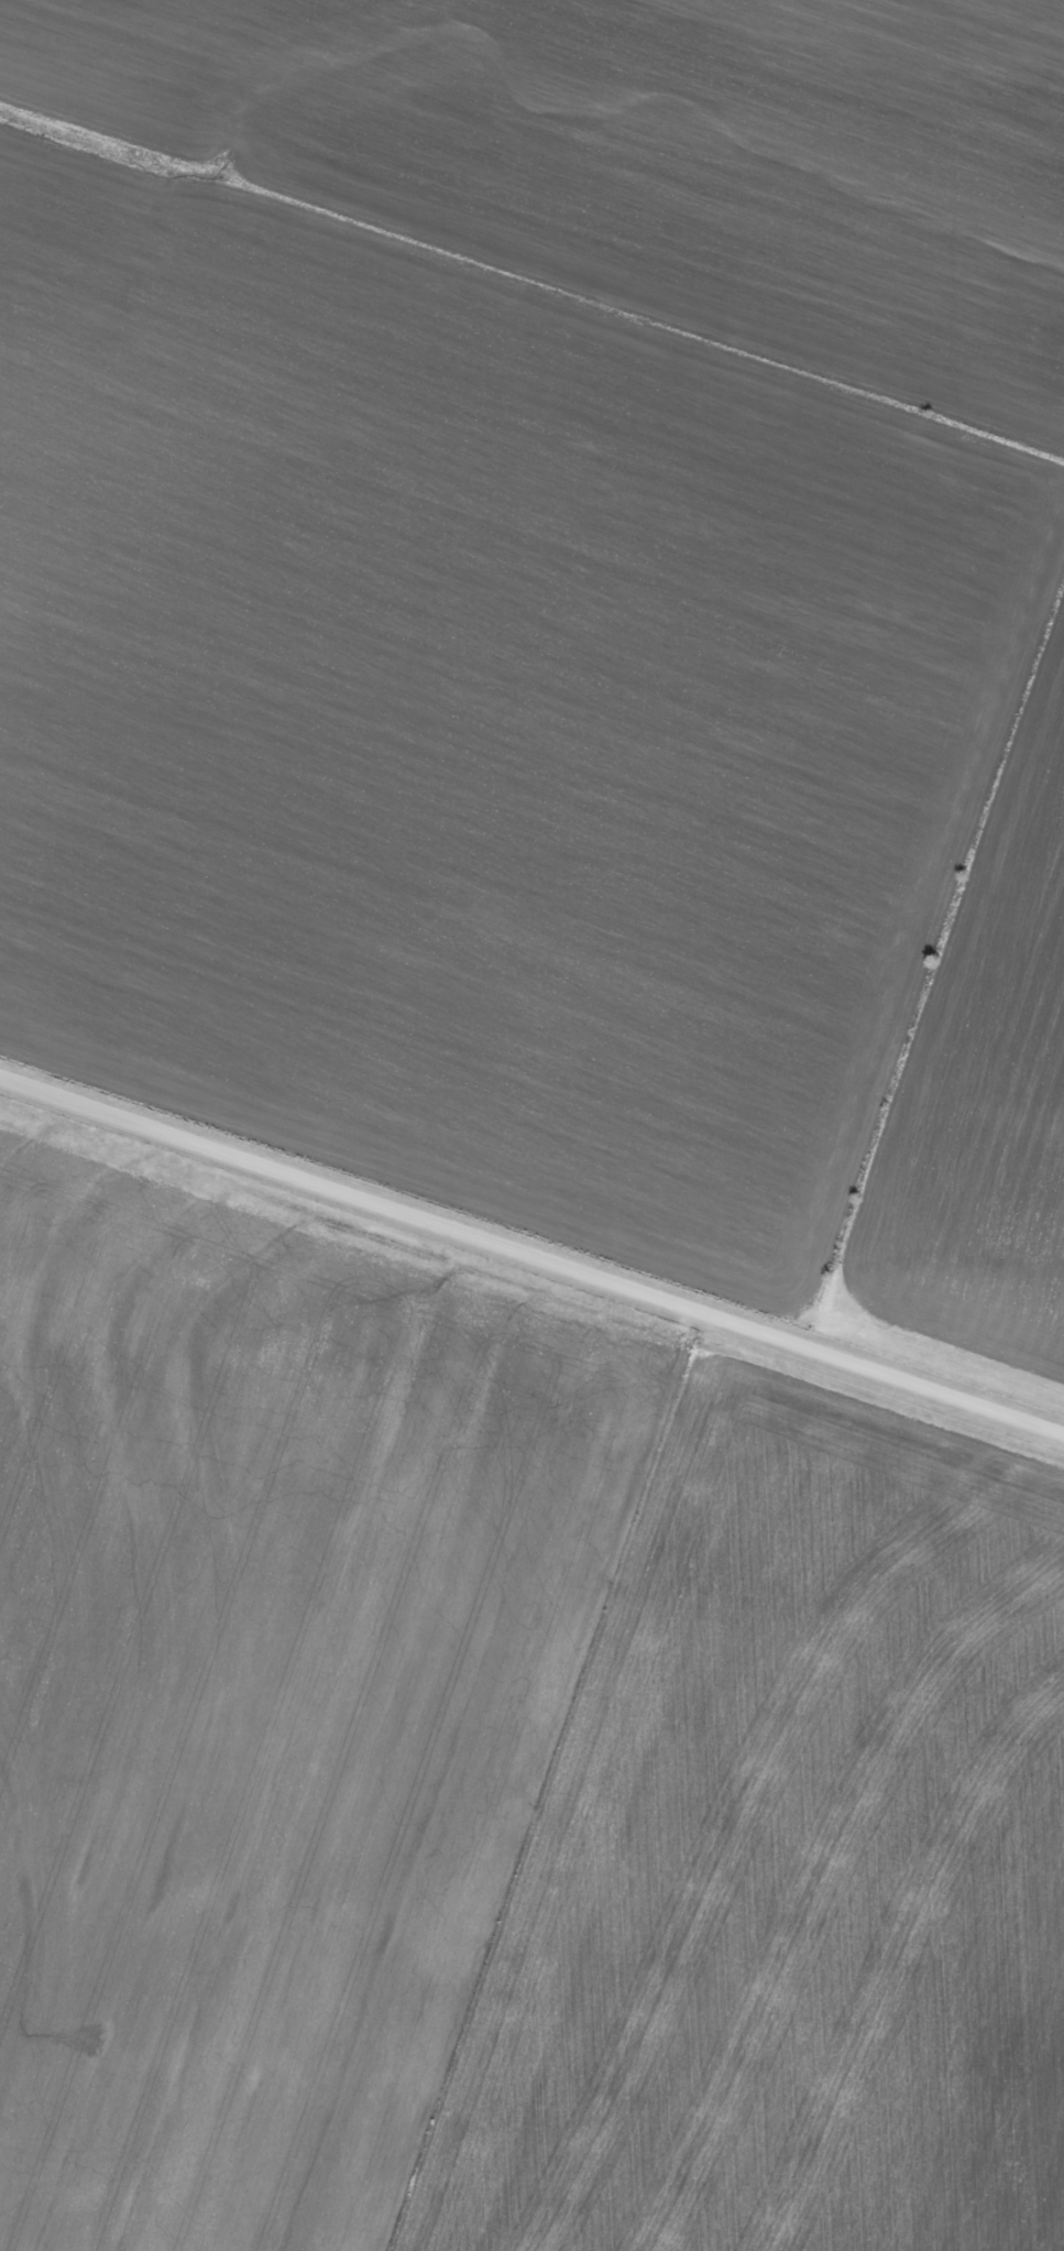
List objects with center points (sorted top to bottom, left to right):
road: (531, 1250)

